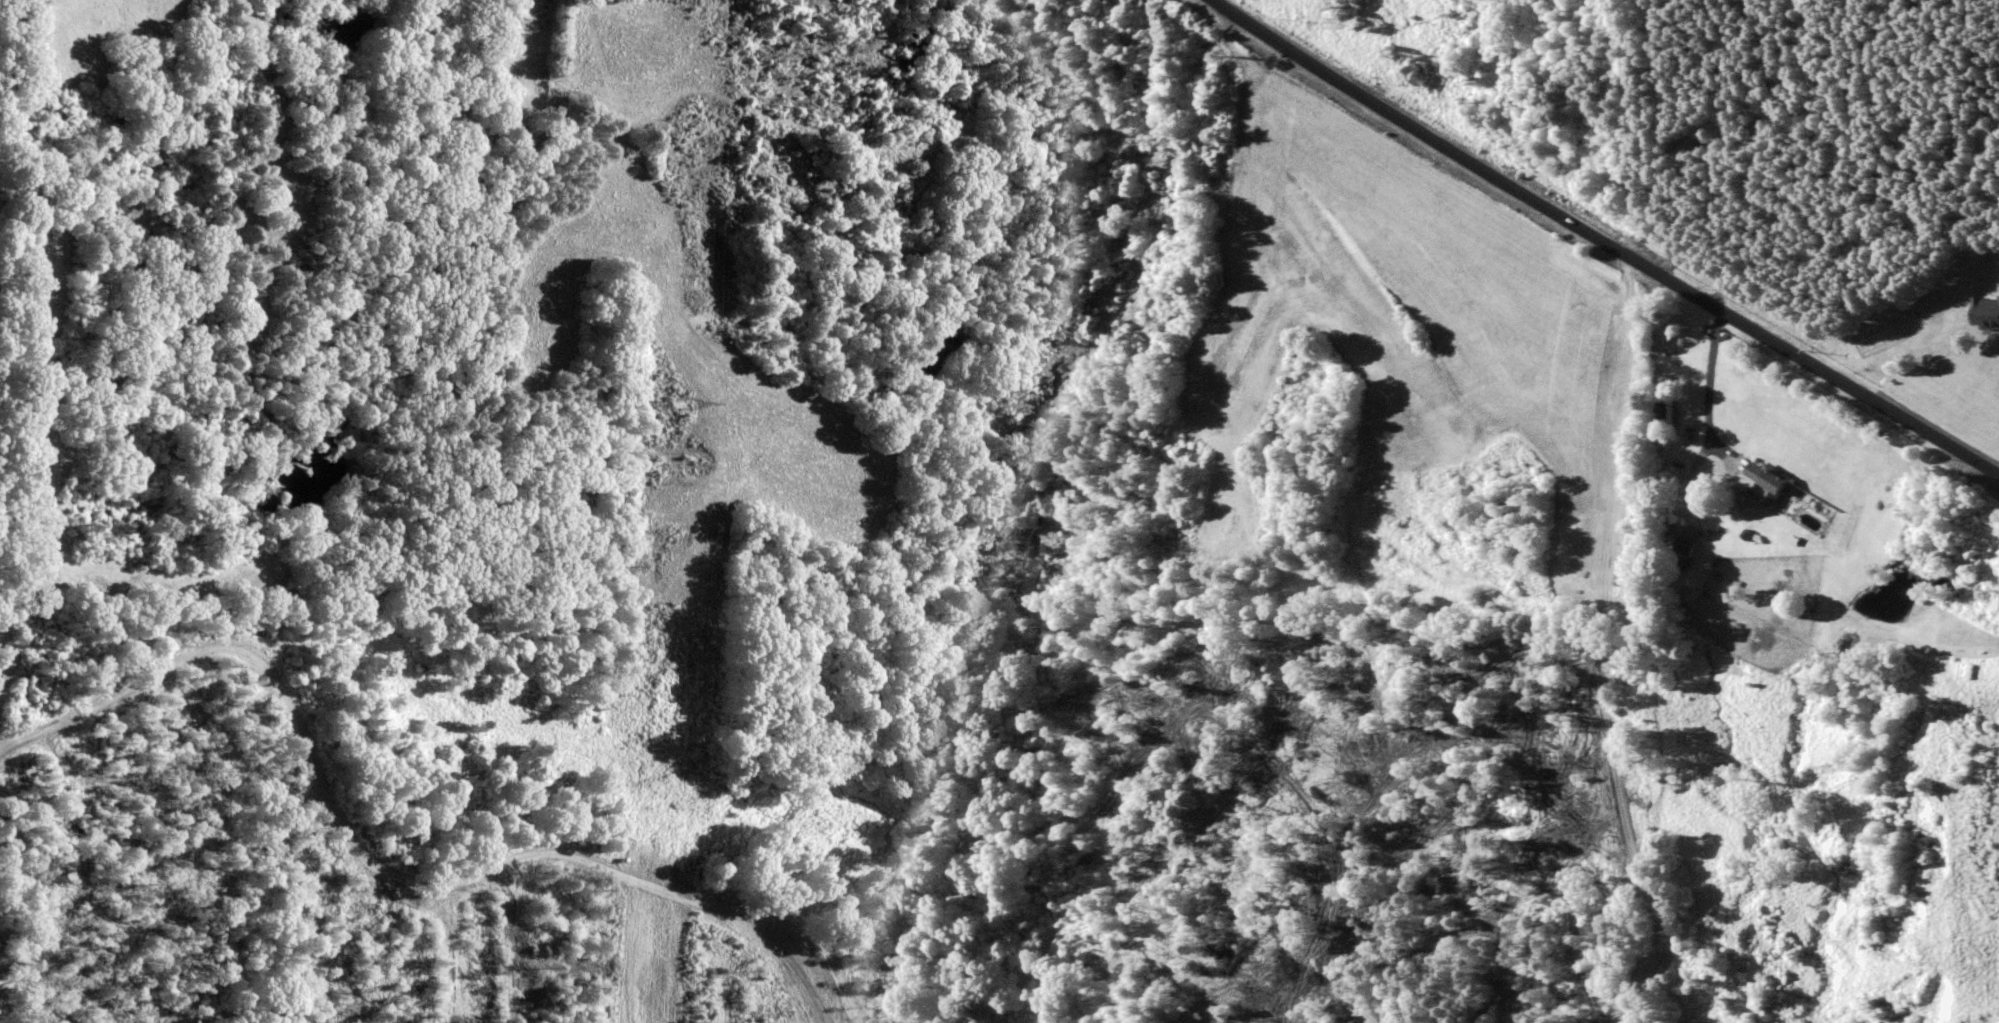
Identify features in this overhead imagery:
road: (1608, 239)
road: (1714, 378)
power tower: (688, 403)
building: (1770, 483)
building: (1682, 554)

